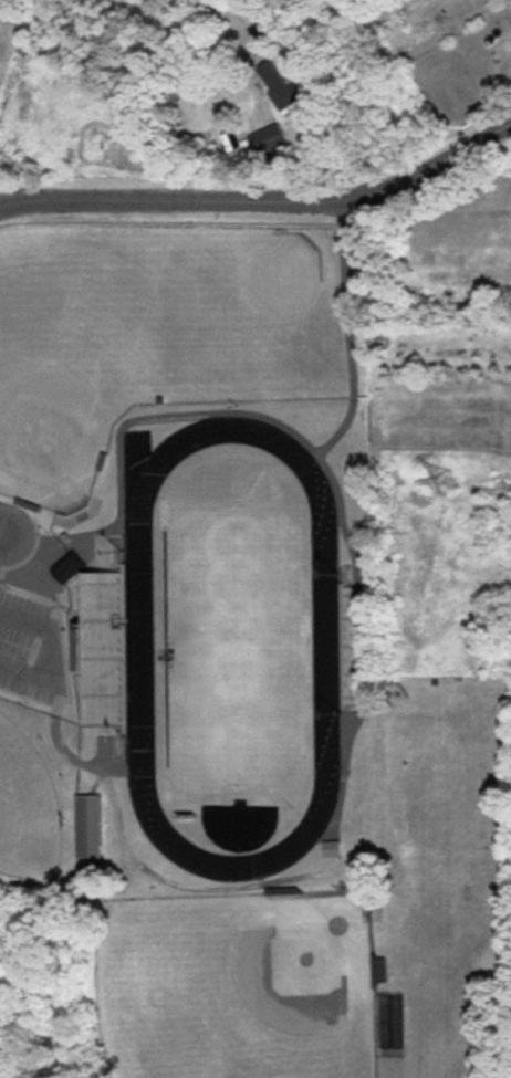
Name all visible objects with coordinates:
building: (282, 84)
building: (267, 142)
road: (263, 201)
power tower: (447, 483)
building: (104, 649)
park: (25, 807)
building: (87, 827)
building: (331, 849)
park: (236, 985)

